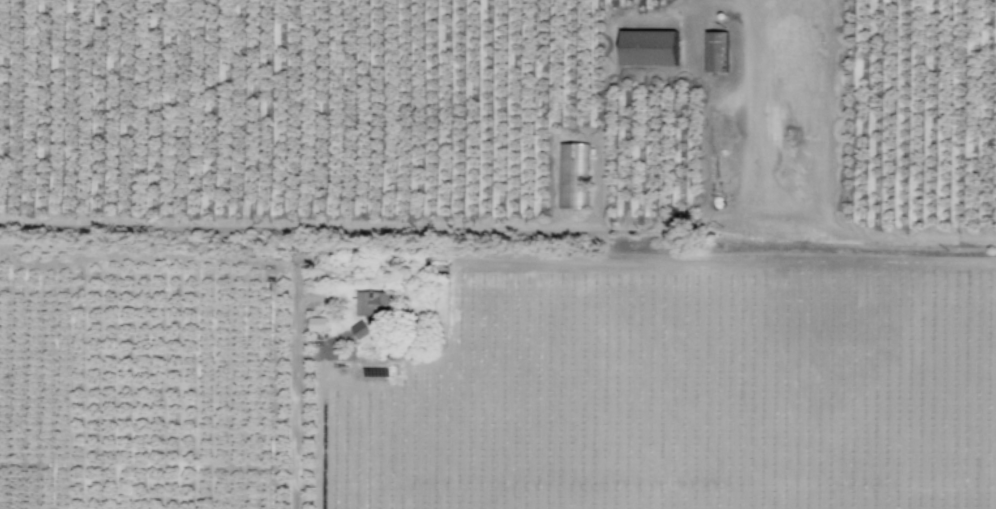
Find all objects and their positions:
building: (649, 48)
building: (717, 51)
building: (573, 176)
building: (375, 302)
building: (317, 324)
building: (359, 329)
road: (298, 389)

